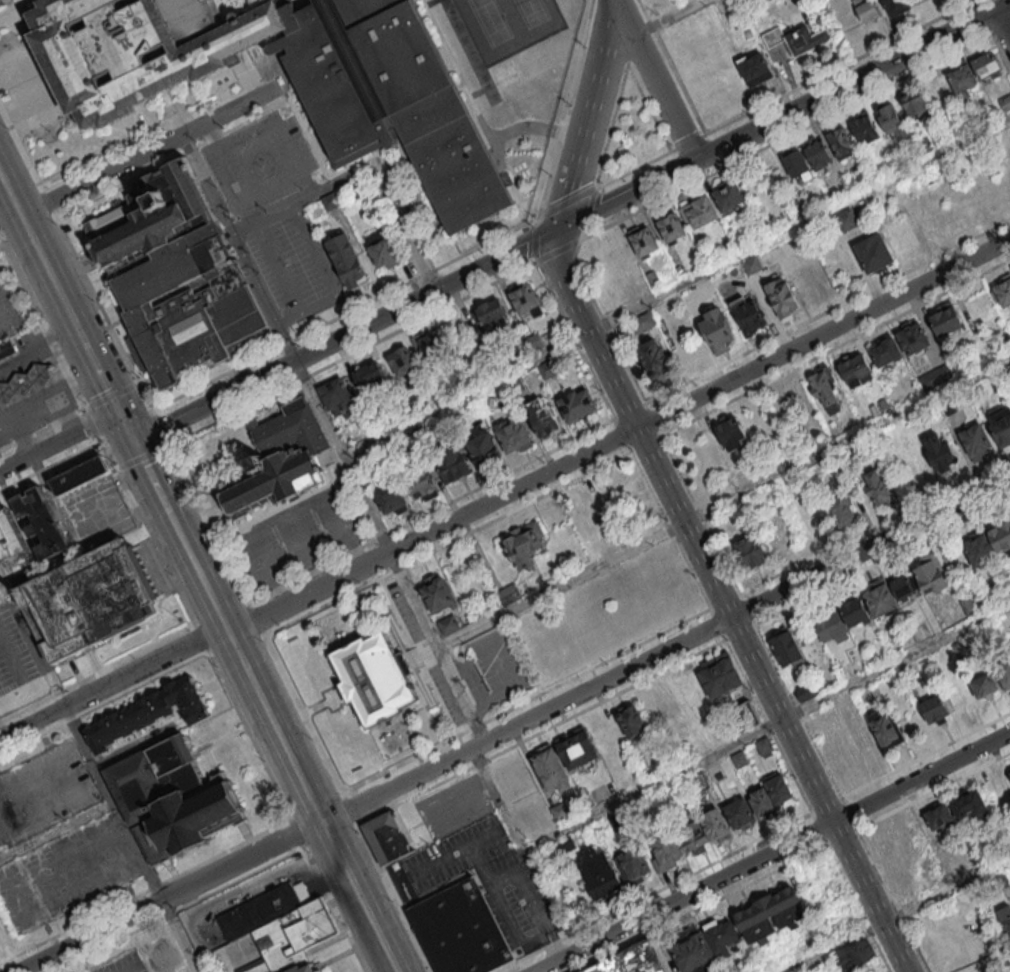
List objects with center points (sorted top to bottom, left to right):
road: (1, 0)
building: (894, 6)
building: (864, 9)
road: (671, 18)
road: (1004, 21)
park: (508, 24)
road: (1002, 29)
building: (799, 37)
building: (138, 50)
building: (985, 65)
road: (671, 66)
road: (839, 66)
building: (753, 67)
road: (598, 70)
road: (254, 75)
building: (961, 78)
road: (658, 79)
building: (393, 101)
road: (473, 101)
building: (1004, 101)
building: (915, 104)
road: (568, 107)
road: (783, 116)
road: (612, 119)
building: (890, 119)
building: (1009, 125)
building: (863, 126)
road: (149, 133)
road: (787, 136)
building: (838, 140)
road: (687, 142)
road: (21, 148)
road: (150, 149)
building: (816, 151)
road: (172, 157)
building: (797, 165)
road: (352, 175)
road: (568, 184)
building: (355, 189)
building: (729, 197)
road: (571, 200)
road: (49, 201)
building: (329, 201)
road: (282, 209)
building: (698, 210)
road: (9, 211)
building: (150, 212)
road: (587, 213)
parking lot: (268, 216)
building: (847, 218)
road: (535, 222)
building: (670, 226)
road: (402, 229)
traffic signals: (558, 229)
road: (33, 238)
building: (642, 240)
road: (533, 242)
road: (239, 246)
road: (556, 249)
building: (381, 250)
building: (875, 255)
building: (347, 259)
building: (751, 264)
building: (733, 270)
building: (651, 277)
road: (676, 284)
building: (705, 286)
building: (1001, 289)
road: (425, 296)
building: (525, 299)
building: (783, 302)
building: (190, 306)
road: (101, 310)
road: (348, 310)
parking lot: (10, 311)
road: (72, 317)
building: (495, 319)
building: (748, 320)
building: (944, 320)
building: (641, 321)
road: (41, 323)
road: (604, 324)
building: (719, 335)
building: (913, 337)
building: (535, 341)
building: (432, 344)
building: (7, 351)
building: (885, 351)
building: (403, 362)
building: (654, 364)
building: (956, 366)
building: (855, 367)
building: (549, 368)
road: (98, 369)
building: (371, 376)
building: (935, 377)
building: (517, 385)
building: (24, 386)
building: (825, 389)
building: (336, 393)
road: (110, 397)
road: (213, 401)
building: (577, 404)
traffic signals: (119, 411)
building: (542, 415)
road: (90, 425)
road: (126, 426)
building: (1000, 426)
road: (160, 427)
road: (41, 430)
building: (289, 430)
building: (514, 434)
road: (619, 434)
building: (733, 439)
building: (974, 439)
road: (59, 440)
traffic signals: (134, 441)
building: (484, 449)
building: (938, 451)
road: (106, 455)
road: (343, 456)
building: (450, 458)
road: (142, 459)
road: (50, 466)
road: (152, 477)
building: (80, 478)
building: (420, 479)
building: (272, 480)
building: (876, 483)
building: (390, 495)
road: (723, 501)
building: (842, 509)
road: (503, 513)
parking lot: (97, 514)
building: (43, 525)
road: (175, 525)
road: (670, 531)
parking lot: (298, 536)
building: (1001, 538)
building: (10, 541)
building: (524, 547)
building: (979, 548)
building: (747, 550)
road: (161, 561)
building: (930, 573)
road: (5, 583)
building: (901, 587)
building: (438, 592)
road: (5, 595)
building: (508, 595)
building: (879, 597)
road: (721, 602)
building: (90, 603)
road: (320, 605)
building: (967, 605)
building: (853, 610)
road: (255, 619)
building: (830, 625)
building: (449, 626)
building: (786, 646)
building: (1009, 646)
road: (437, 648)
road: (666, 649)
parking lot: (17, 650)
building: (960, 652)
road: (492, 654)
road: (417, 655)
building: (936, 658)
parking lot: (463, 660)
road: (482, 660)
road: (467, 667)
road: (97, 672)
building: (1003, 673)
road: (459, 674)
building: (721, 676)
road: (471, 679)
road: (112, 683)
building: (374, 683)
building: (984, 683)
road: (516, 687)
building: (803, 690)
road: (468, 693)
building: (958, 695)
road: (526, 699)
road: (606, 700)
building: (934, 708)
road: (476, 709)
building: (150, 713)
building: (630, 718)
building: (744, 718)
road: (774, 725)
road: (768, 726)
building: (885, 728)
road: (3, 732)
building: (763, 746)
building: (576, 747)
road: (288, 754)
building: (837, 756)
building: (741, 760)
road: (481, 763)
building: (550, 766)
building: (1009, 771)
road: (270, 776)
building: (702, 784)
building: (778, 788)
parking lot: (43, 792)
road: (417, 795)
building: (175, 799)
building: (761, 802)
building: (968, 802)
road: (112, 804)
road: (501, 806)
parking lot: (455, 807)
road: (351, 808)
building: (560, 811)
building: (737, 811)
building: (638, 816)
building: (939, 816)
building: (714, 822)
building: (621, 823)
road: (297, 830)
road: (821, 830)
road: (56, 832)
building: (693, 835)
building: (390, 840)
building: (566, 844)
road: (497, 845)
building: (666, 849)
road: (771, 852)
building: (633, 864)
parking lot: (67, 873)
building: (600, 878)
parking lot: (493, 880)
road: (656, 893)
road: (170, 896)
road: (395, 898)
road: (177, 908)
road: (336, 908)
road: (859, 908)
road: (702, 909)
building: (261, 912)
building: (769, 915)
road: (897, 915)
building: (1004, 918)
road: (541, 925)
building: (461, 931)
building: (2, 934)
road: (178, 936)
building: (724, 936)
building: (294, 938)
road: (662, 943)
building: (691, 949)
building: (163, 954)
building: (856, 958)
building: (631, 960)
parking lot: (123, 964)
road: (136, 968)
building: (305, 970)

